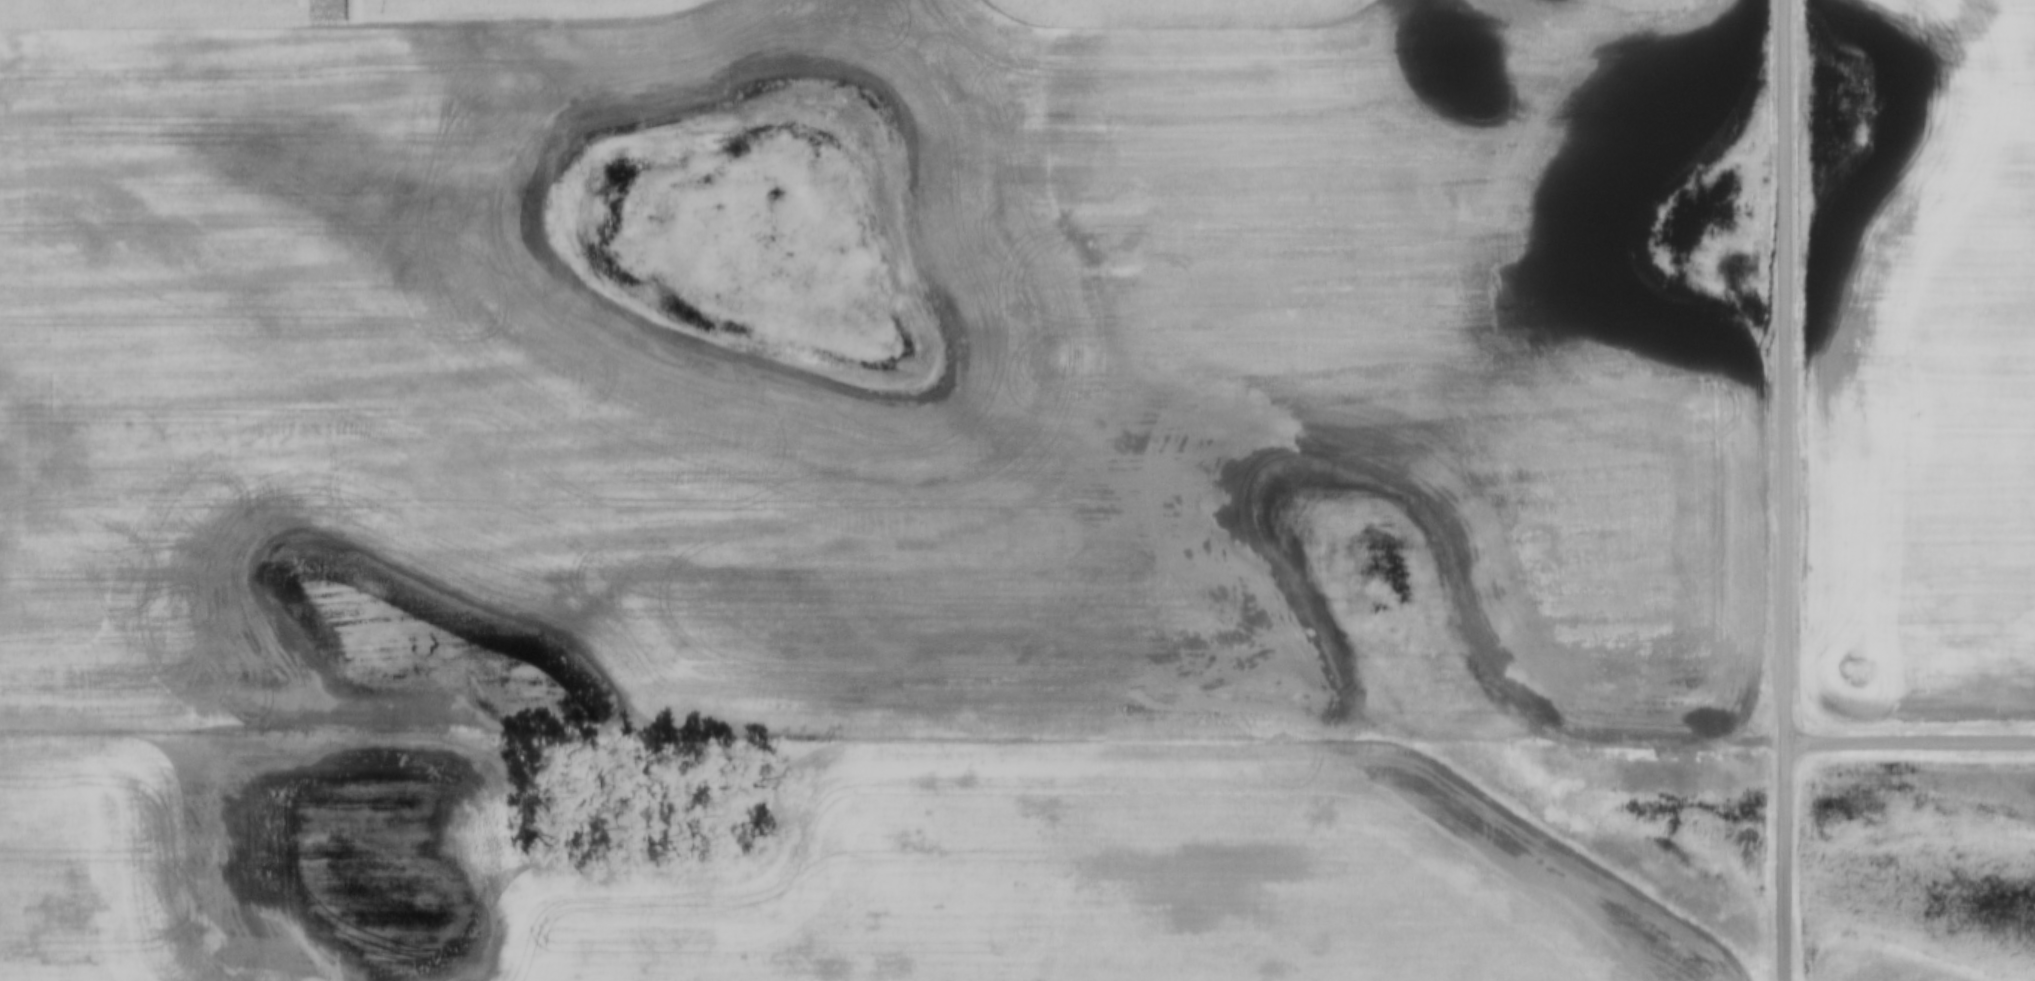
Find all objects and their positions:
road: (1784, 369)
road: (1909, 740)
road: (1783, 860)

